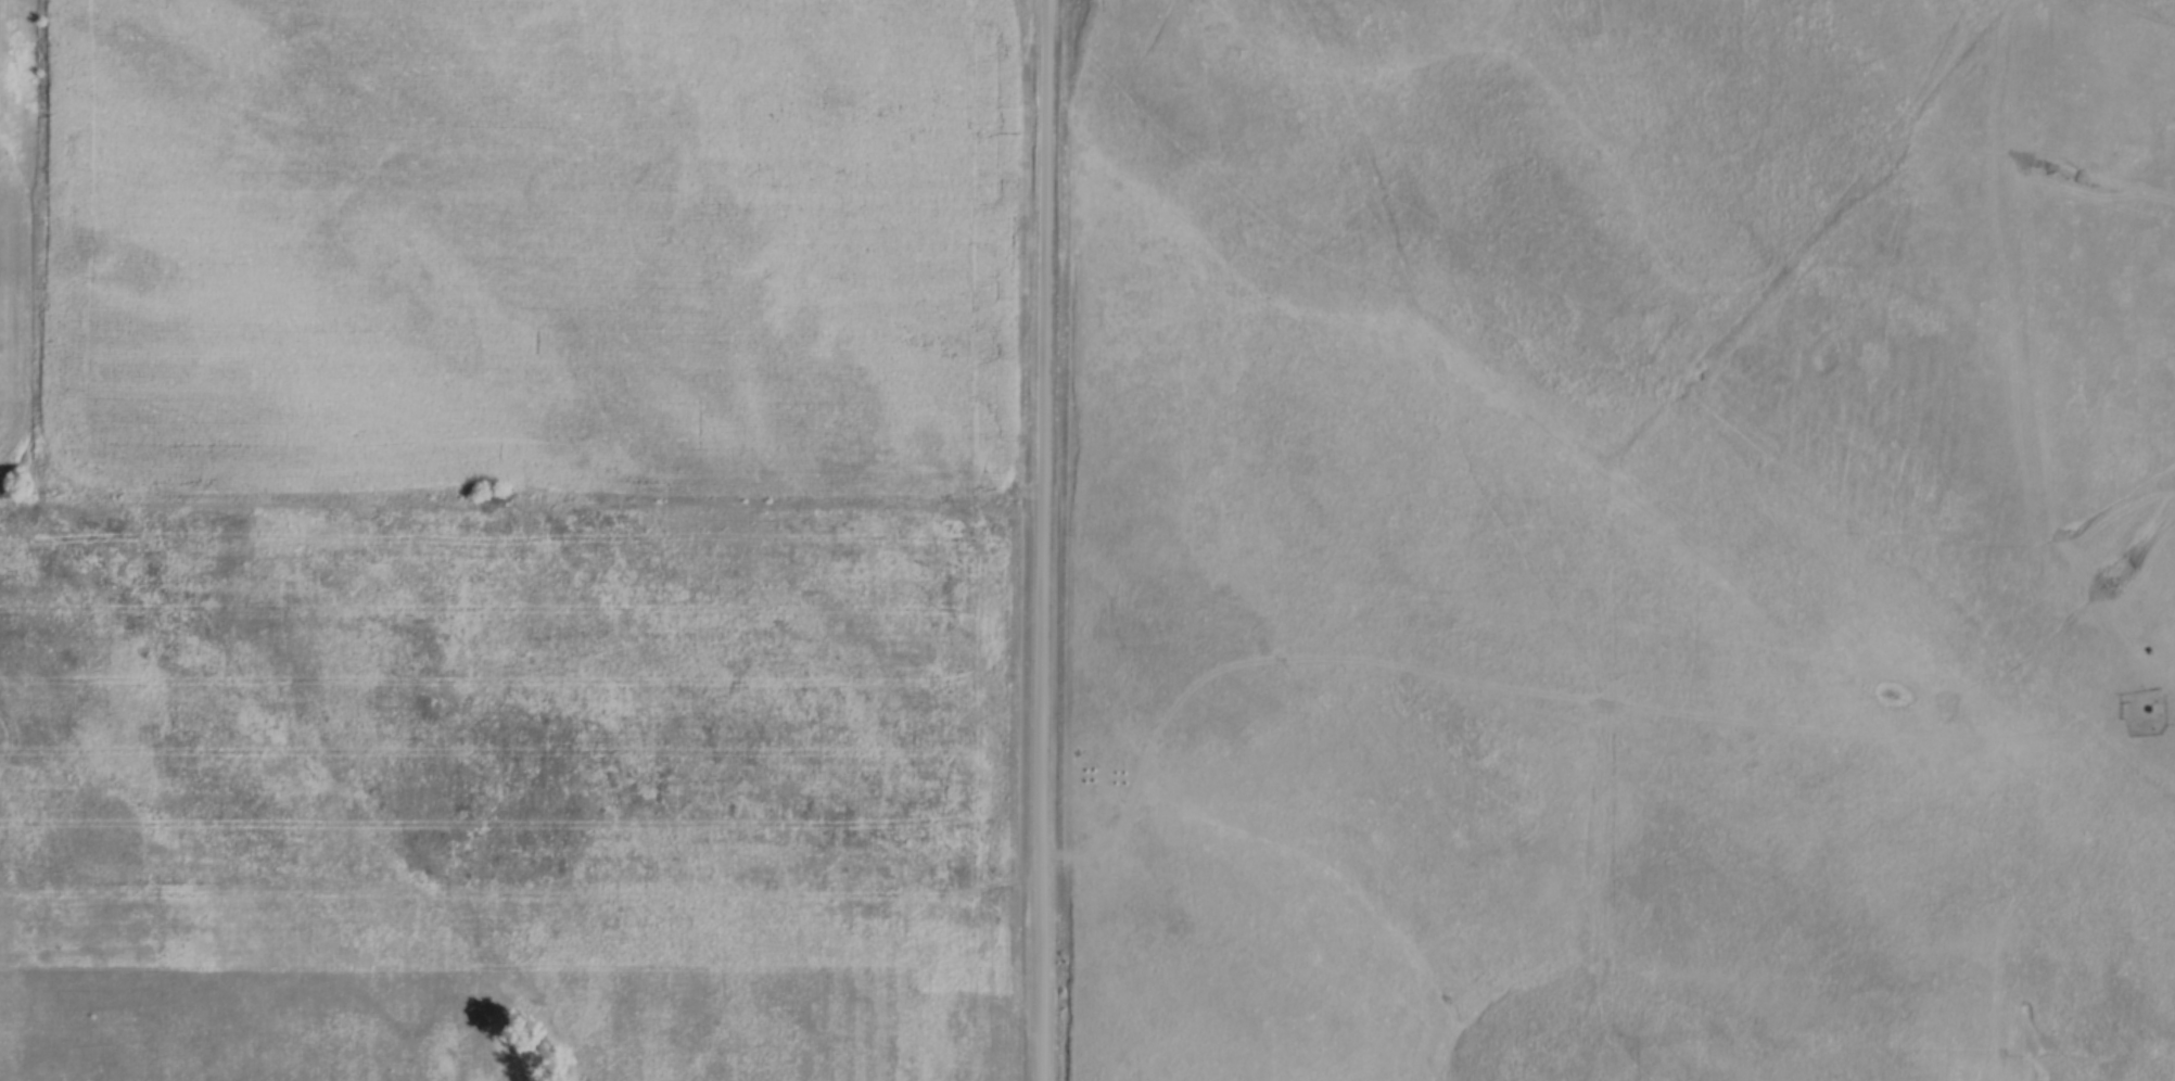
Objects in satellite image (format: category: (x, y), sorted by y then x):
road: (1041, 539)
building: (131, 870)

